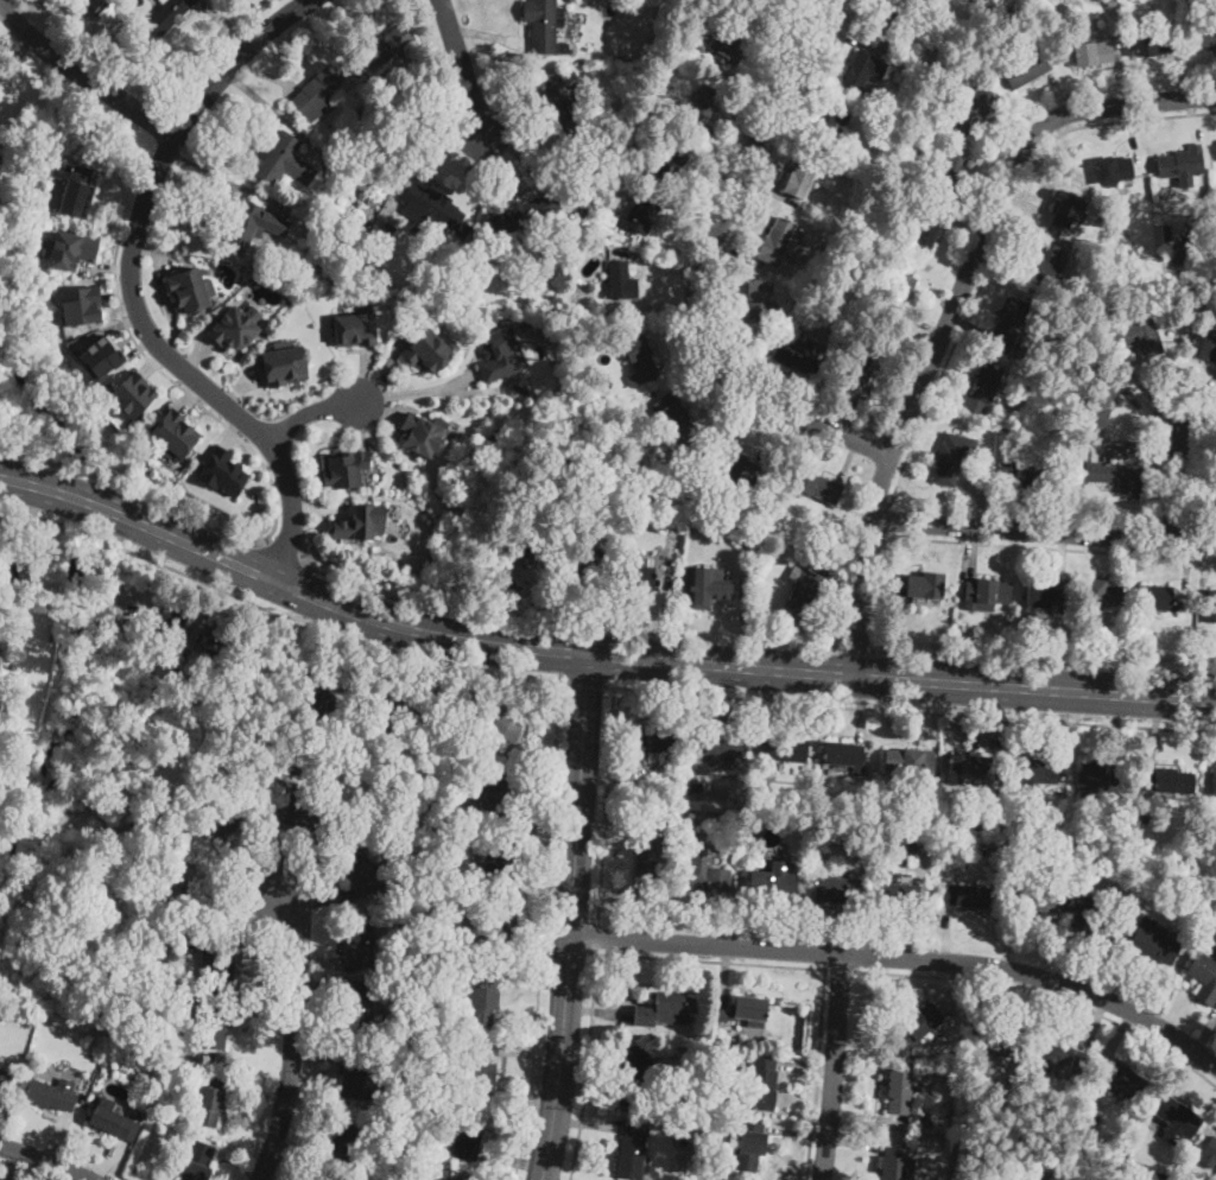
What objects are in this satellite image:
building: (740, 0)
building: (1113, 2)
building: (90, 4)
building: (169, 14)
building: (885, 15)
building: (544, 26)
building: (689, 28)
building: (1205, 34)
building: (388, 45)
building: (1153, 45)
building: (729, 46)
building: (1090, 55)
building: (653, 57)
road: (463, 68)
building: (1028, 68)
building: (863, 69)
road: (82, 76)
building: (318, 91)
building: (705, 101)
building: (565, 108)
building: (975, 109)
building: (362, 112)
building: (824, 123)
building: (1, 152)
building: (873, 152)
building: (671, 157)
building: (0, 159)
building: (281, 160)
building: (1182, 163)
building: (1114, 169)
building: (946, 172)
building: (802, 178)
building: (71, 185)
building: (0, 199)
building: (908, 199)
building: (370, 202)
building: (430, 210)
building: (642, 210)
building: (1069, 210)
building: (526, 212)
building: (584, 212)
building: (341, 218)
building: (247, 226)
building: (317, 230)
building: (1164, 230)
building: (332, 234)
building: (923, 236)
building: (382, 237)
building: (777, 241)
road: (999, 243)
building: (68, 248)
road: (722, 254)
building: (1186, 254)
building: (1047, 261)
building: (355, 269)
road: (697, 271)
building: (621, 281)
road: (133, 288)
building: (190, 288)
building: (900, 291)
building: (759, 297)
building: (80, 304)
building: (544, 305)
road: (951, 309)
building: (235, 328)
building: (354, 328)
building: (1007, 328)
building: (1134, 337)
building: (1202, 347)
building: (429, 349)
building: (500, 355)
building: (798, 356)
building: (101, 357)
building: (639, 361)
building: (284, 362)
building: (863, 370)
building: (982, 387)
road: (418, 389)
building: (132, 393)
road: (191, 396)
building: (1097, 405)
road: (310, 412)
building: (674, 418)
building: (422, 433)
building: (173, 434)
road: (897, 440)
building: (951, 457)
building: (731, 462)
building: (344, 467)
building: (222, 471)
building: (1026, 474)
building: (1116, 476)
building: (1215, 478)
road: (1171, 484)
building: (817, 486)
road: (131, 490)
road: (27, 519)
building: (361, 521)
road: (886, 521)
building: (670, 525)
road: (1044, 532)
road: (6, 546)
road: (1047, 548)
road: (280, 553)
building: (532, 570)
building: (583, 572)
road: (156, 575)
building: (642, 577)
building: (14, 578)
building: (711, 582)
building: (926, 585)
building: (802, 589)
building: (987, 594)
building: (1047, 595)
building: (1103, 595)
building: (1160, 599)
road: (211, 602)
building: (1210, 603)
road: (279, 610)
building: (171, 618)
road: (564, 624)
building: (963, 627)
building: (1117, 639)
building: (214, 640)
road: (343, 649)
road: (859, 649)
road: (594, 654)
road: (1045, 660)
building: (196, 672)
road: (433, 675)
road: (587, 681)
building: (324, 703)
building: (398, 708)
road: (911, 709)
building: (499, 722)
building: (653, 742)
building: (727, 743)
building: (787, 750)
road: (540, 755)
building: (843, 755)
building: (910, 760)
building: (973, 767)
building: (1035, 772)
building: (1094, 780)
building: (1170, 781)
building: (1212, 785)
building: (752, 793)
building: (495, 798)
road: (607, 806)
building: (304, 817)
building: (1145, 818)
building: (128, 819)
building: (224, 819)
road: (543, 823)
building: (450, 824)
building: (373, 826)
building: (1204, 840)
building: (924, 855)
building: (647, 857)
building: (496, 861)
road: (279, 862)
building: (439, 862)
road: (236, 867)
building: (361, 871)
building: (709, 877)
building: (1155, 877)
building: (771, 883)
road: (544, 886)
building: (837, 888)
building: (898, 895)
building: (967, 896)
building: (196, 899)
road: (313, 899)
building: (1041, 899)
road: (571, 918)
building: (423, 920)
road: (237, 922)
building: (1092, 924)
road: (544, 930)
building: (498, 933)
road: (596, 938)
building: (361, 940)
building: (1151, 940)
road: (540, 956)
building: (444, 957)
road: (905, 957)
road: (709, 960)
road: (322, 963)
building: (218, 968)
road: (840, 969)
building: (1204, 978)
road: (534, 984)
road: (319, 988)
road: (261, 991)
road: (1047, 996)
building: (482, 1000)
building: (357, 1008)
building: (664, 1011)
building: (750, 1011)
building: (723, 1016)
road: (262, 1021)
building: (214, 1028)
building: (916, 1028)
building: (184, 1029)
road: (293, 1035)
building: (1000, 1041)
building: (714, 1043)
road: (316, 1051)
road: (532, 1051)
building: (1060, 1058)
road: (587, 1066)
building: (481, 1067)
road: (834, 1067)
road: (817, 1074)
building: (355, 1076)
building: (635, 1077)
building: (1120, 1078)
building: (5, 1079)
building: (761, 1083)
building: (900, 1085)
road: (256, 1089)
building: (718, 1090)
building: (50, 1095)
building: (209, 1100)
building: (133, 1105)
building: (137, 1116)
building: (1172, 1116)
building: (115, 1123)
building: (465, 1131)
building: (711, 1131)
road: (57, 1135)
building: (342, 1137)
building: (1062, 1138)
road: (298, 1144)
building: (749, 1146)
building: (1012, 1147)
building: (1210, 1149)
building: (632, 1150)
road: (46, 1159)
road: (108, 1160)
building: (197, 1161)
road: (513, 1161)
road: (12, 1163)
building: (893, 1167)
road: (24, 1171)
road: (77, 1176)
building: (452, 1176)
building: (1040, 1179)
building: (1057, 1179)

